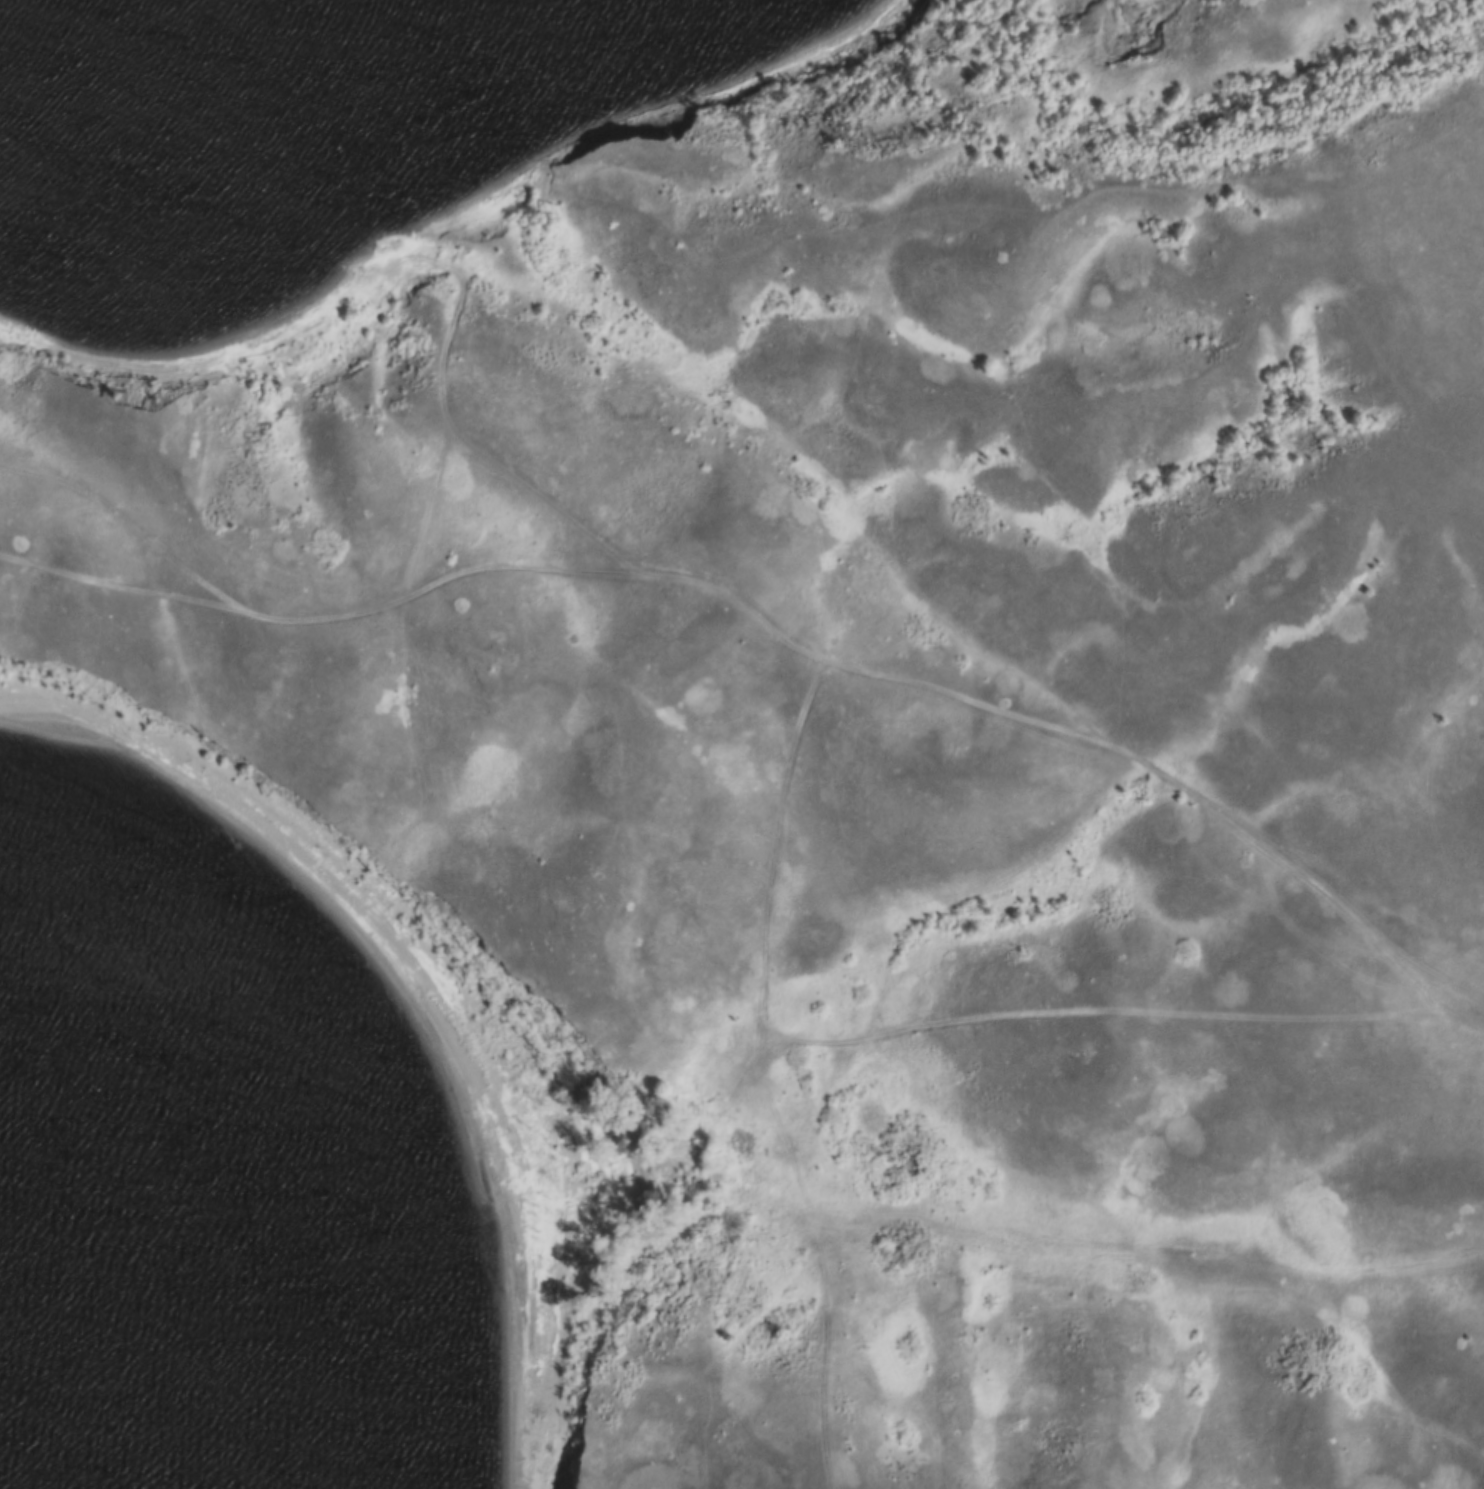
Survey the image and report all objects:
road: (314, 625)
road: (871, 674)
road: (932, 1027)

